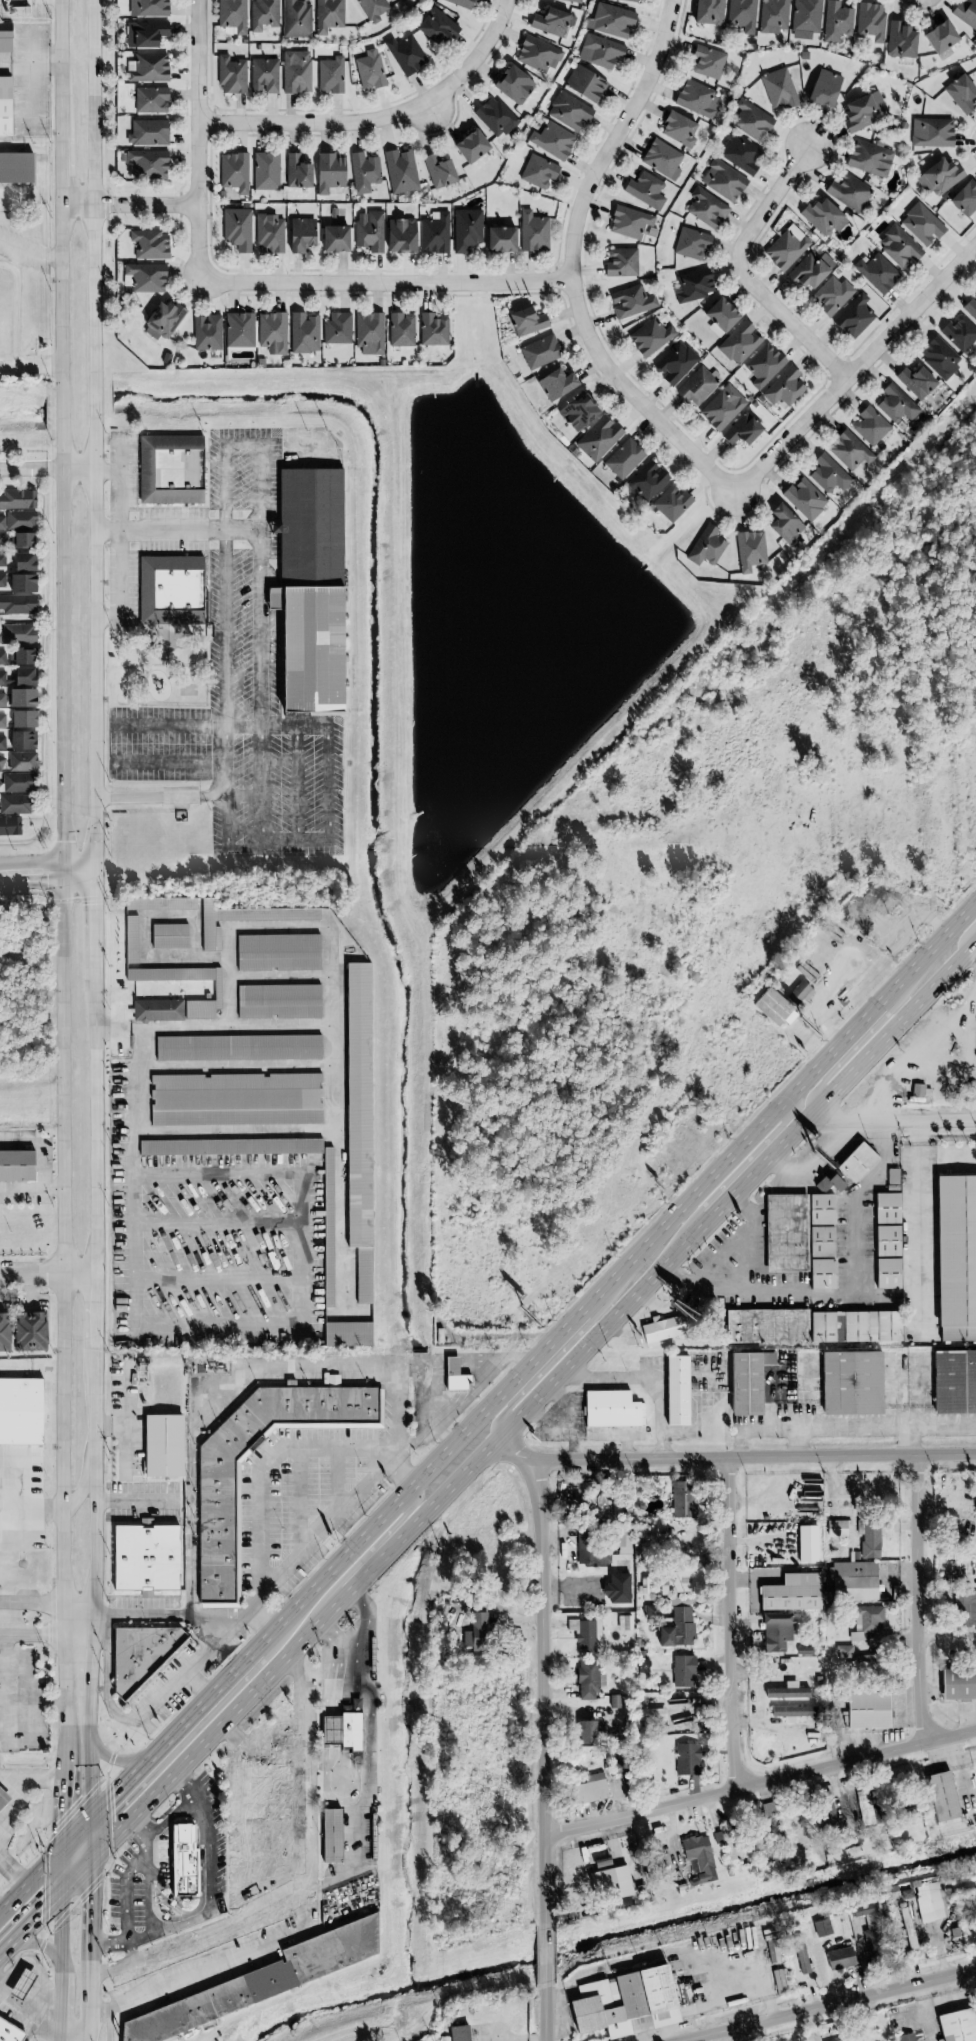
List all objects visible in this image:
building: (572, 1)
building: (629, 1)
building: (461, 2)
building: (147, 8)
building: (371, 9)
building: (706, 12)
building: (262, 14)
building: (327, 15)
building: (741, 15)
building: (230, 16)
building: (772, 16)
building: (295, 18)
building: (804, 18)
building: (610, 20)
building: (550, 21)
building: (835, 21)
building: (869, 21)
building: (435, 27)
building: (144, 34)
building: (937, 36)
building: (4, 37)
building: (898, 40)
building: (599, 51)
building: (404, 54)
building: (536, 55)
building: (706, 62)
building: (148, 68)
building: (368, 70)
building: (295, 72)
building: (230, 75)
building: (329, 75)
building: (263, 76)
building: (584, 84)
building: (511, 85)
building: (822, 88)
building: (778, 89)
building: (959, 93)
building: (696, 99)
building: (150, 100)
building: (3, 106)
building: (862, 110)
building: (568, 111)
road: (378, 116)
building: (494, 117)
building: (750, 121)
building: (677, 129)
building: (930, 132)
building: (147, 133)
road: (197, 138)
building: (552, 141)
building: (468, 146)
building: (740, 153)
building: (868, 158)
building: (661, 159)
building: (145, 164)
building: (13, 167)
building: (264, 171)
building: (400, 171)
building: (437, 171)
building: (233, 172)
building: (295, 172)
building: (328, 172)
building: (363, 172)
building: (537, 172)
building: (938, 177)
building: (722, 180)
building: (644, 190)
building: (847, 192)
building: (964, 198)
road: (768, 202)
road: (127, 205)
building: (705, 208)
building: (822, 217)
building: (628, 222)
building: (920, 224)
building: (236, 229)
building: (465, 229)
building: (368, 231)
building: (532, 232)
building: (433, 233)
building: (268, 234)
building: (299, 234)
building: (399, 235)
building: (332, 239)
building: (498, 240)
building: (690, 243)
building: (148, 245)
building: (897, 246)
building: (785, 248)
road: (29, 252)
building: (620, 262)
road: (569, 263)
building: (809, 270)
building: (876, 273)
building: (142, 278)
road: (384, 281)
building: (692, 286)
building: (831, 295)
building: (630, 302)
road: (18, 308)
building: (970, 308)
building: (719, 315)
building: (853, 316)
road: (788, 320)
building: (161, 321)
building: (525, 322)
building: (336, 328)
building: (400, 329)
building: (238, 330)
building: (431, 330)
building: (205, 332)
building: (271, 333)
building: (302, 333)
building: (958, 333)
building: (368, 334)
building: (649, 337)
building: (738, 343)
building: (538, 352)
building: (938, 357)
building: (673, 363)
road: (854, 365)
road: (29, 366)
building: (763, 366)
building: (914, 381)
building: (554, 384)
building: (782, 388)
building: (895, 404)
building: (721, 407)
building: (576, 411)
building: (869, 426)
building: (740, 430)
road: (93, 436)
building: (597, 439)
building: (848, 450)
building: (623, 459)
road: (222, 463)
road: (46, 469)
building: (167, 470)
building: (827, 474)
road: (265, 477)
building: (646, 481)
building: (17, 499)
building: (803, 499)
building: (671, 503)
building: (19, 520)
building: (1, 523)
road: (249, 523)
building: (785, 527)
road: (174, 528)
building: (22, 530)
building: (1, 539)
building: (20, 541)
road: (124, 542)
building: (705, 547)
building: (749, 550)
building: (1, 560)
building: (21, 562)
building: (1, 580)
building: (19, 583)
building: (167, 584)
building: (307, 591)
building: (16, 604)
road: (225, 626)
building: (16, 634)
building: (18, 657)
building: (2, 659)
building: (20, 677)
building: (2, 678)
building: (19, 698)
building: (2, 700)
building: (20, 720)
building: (2, 721)
road: (167, 725)
road: (277, 726)
building: (20, 741)
building: (2, 743)
road: (224, 758)
building: (1, 761)
building: (21, 762)
road: (168, 764)
building: (16, 783)
road: (158, 795)
building: (14, 804)
road: (60, 811)
building: (9, 826)
traffic signals: (60, 841)
road: (301, 841)
road: (46, 873)
traffic signals: (46, 874)
building: (159, 903)
traffic signals: (92, 906)
building: (243, 918)
road: (92, 929)
building: (167, 935)
road: (966, 936)
building: (129, 939)
building: (276, 952)
road: (928, 952)
road: (972, 957)
building: (215, 990)
building: (277, 1001)
road: (822, 1001)
building: (779, 1002)
building: (157, 1010)
road: (860, 1022)
building: (237, 1047)
road: (876, 1047)
road: (915, 1048)
building: (948, 1052)
road: (827, 1075)
building: (916, 1089)
building: (234, 1099)
road: (895, 1120)
building: (356, 1121)
road: (783, 1122)
road: (808, 1159)
building: (855, 1162)
building: (15, 1165)
road: (712, 1176)
road: (741, 1179)
building: (828, 1184)
road: (31, 1185)
road: (866, 1203)
building: (885, 1208)
road: (929, 1225)
building: (327, 1231)
building: (799, 1236)
building: (886, 1240)
building: (954, 1256)
road: (48, 1272)
building: (886, 1273)
road: (752, 1293)
road: (96, 1304)
road: (213, 1324)
building: (765, 1326)
building: (853, 1326)
building: (661, 1328)
building: (2, 1331)
building: (26, 1331)
road: (561, 1333)
building: (345, 1334)
building: (765, 1358)
road: (348, 1363)
building: (453, 1376)
road: (647, 1378)
building: (953, 1381)
building: (743, 1383)
building: (849, 1383)
road: (548, 1386)
road: (473, 1389)
building: (674, 1389)
road: (514, 1396)
road: (425, 1403)
building: (20, 1406)
road: (911, 1406)
building: (610, 1409)
road: (803, 1409)
road: (564, 1419)
road: (847, 1426)
road: (567, 1429)
road: (599, 1436)
building: (164, 1440)
road: (514, 1450)
road: (753, 1457)
road: (81, 1490)
building: (682, 1499)
building: (974, 1499)
road: (397, 1502)
road: (15, 1508)
road: (335, 1513)
road: (397, 1522)
building: (216, 1526)
building: (835, 1528)
building: (871, 1539)
building: (622, 1541)
building: (805, 1543)
road: (265, 1545)
building: (590, 1550)
building: (145, 1551)
road: (365, 1576)
building: (850, 1580)
building: (615, 1589)
building: (790, 1593)
road: (919, 1599)
road: (42, 1601)
road: (365, 1605)
building: (966, 1609)
road: (94, 1617)
road: (265, 1621)
building: (866, 1621)
road: (732, 1622)
building: (676, 1628)
building: (474, 1630)
building: (775, 1631)
building: (585, 1632)
road: (41, 1634)
road: (340, 1640)
building: (142, 1651)
road: (78, 1670)
building: (682, 1670)
building: (587, 1679)
building: (957, 1684)
road: (5, 1690)
road: (542, 1692)
building: (786, 1692)
road: (29, 1700)
building: (614, 1701)
road: (54, 1703)
building: (866, 1710)
road: (140, 1711)
building: (791, 1711)
building: (655, 1714)
road: (298, 1716)
building: (331, 1724)
building: (351, 1726)
road: (219, 1727)
road: (236, 1728)
building: (584, 1732)
road: (167, 1740)
road: (330, 1740)
road: (2, 1745)
road: (105, 1755)
building: (686, 1759)
building: (615, 1761)
road: (955, 1768)
road: (78, 1778)
road: (37, 1779)
road: (760, 1782)
building: (259, 1785)
road: (190, 1789)
building: (588, 1789)
building: (3, 1792)
building: (940, 1796)
traffic signals: (78, 1798)
traffic signals: (113, 1798)
road: (303, 1803)
road: (357, 1805)
building: (865, 1807)
road: (21, 1814)
building: (827, 1816)
road: (173, 1817)
building: (331, 1830)
building: (373, 1830)
road: (84, 1846)
building: (728, 1849)
building: (697, 1857)
road: (17, 1861)
building: (180, 1862)
road: (38, 1873)
road: (210, 1880)
building: (610, 1880)
building: (633, 1880)
road: (127, 1889)
road: (62, 1890)
traffic signals: (91, 1895)
road: (146, 1898)
road: (200, 1901)
building: (929, 1902)
road: (45, 1907)
road: (1, 1909)
traffic signals: (39, 1915)
road: (91, 1918)
road: (239, 1920)
building: (820, 1928)
building: (868, 1929)
road: (149, 1935)
river: (618, 1936)
road: (40, 1945)
building: (772, 1948)
road: (131, 1952)
road: (546, 1955)
building: (800, 1955)
building: (838, 1958)
road: (37, 1962)
road: (211, 1966)
building: (257, 1977)
building: (23, 1979)
gas station: (23, 1979)
building: (779, 1981)
road: (61, 1990)
road: (42, 2000)
building: (626, 2003)
road: (827, 2004)
road: (30, 2006)
road: (90, 2009)
road: (547, 2013)
road: (109, 2025)
building: (956, 2026)
building: (10, 2029)
road: (75, 2032)
building: (459, 2033)
road: (59, 2036)
building: (904, 2037)
building: (491, 2040)
building: (836, 2040)

